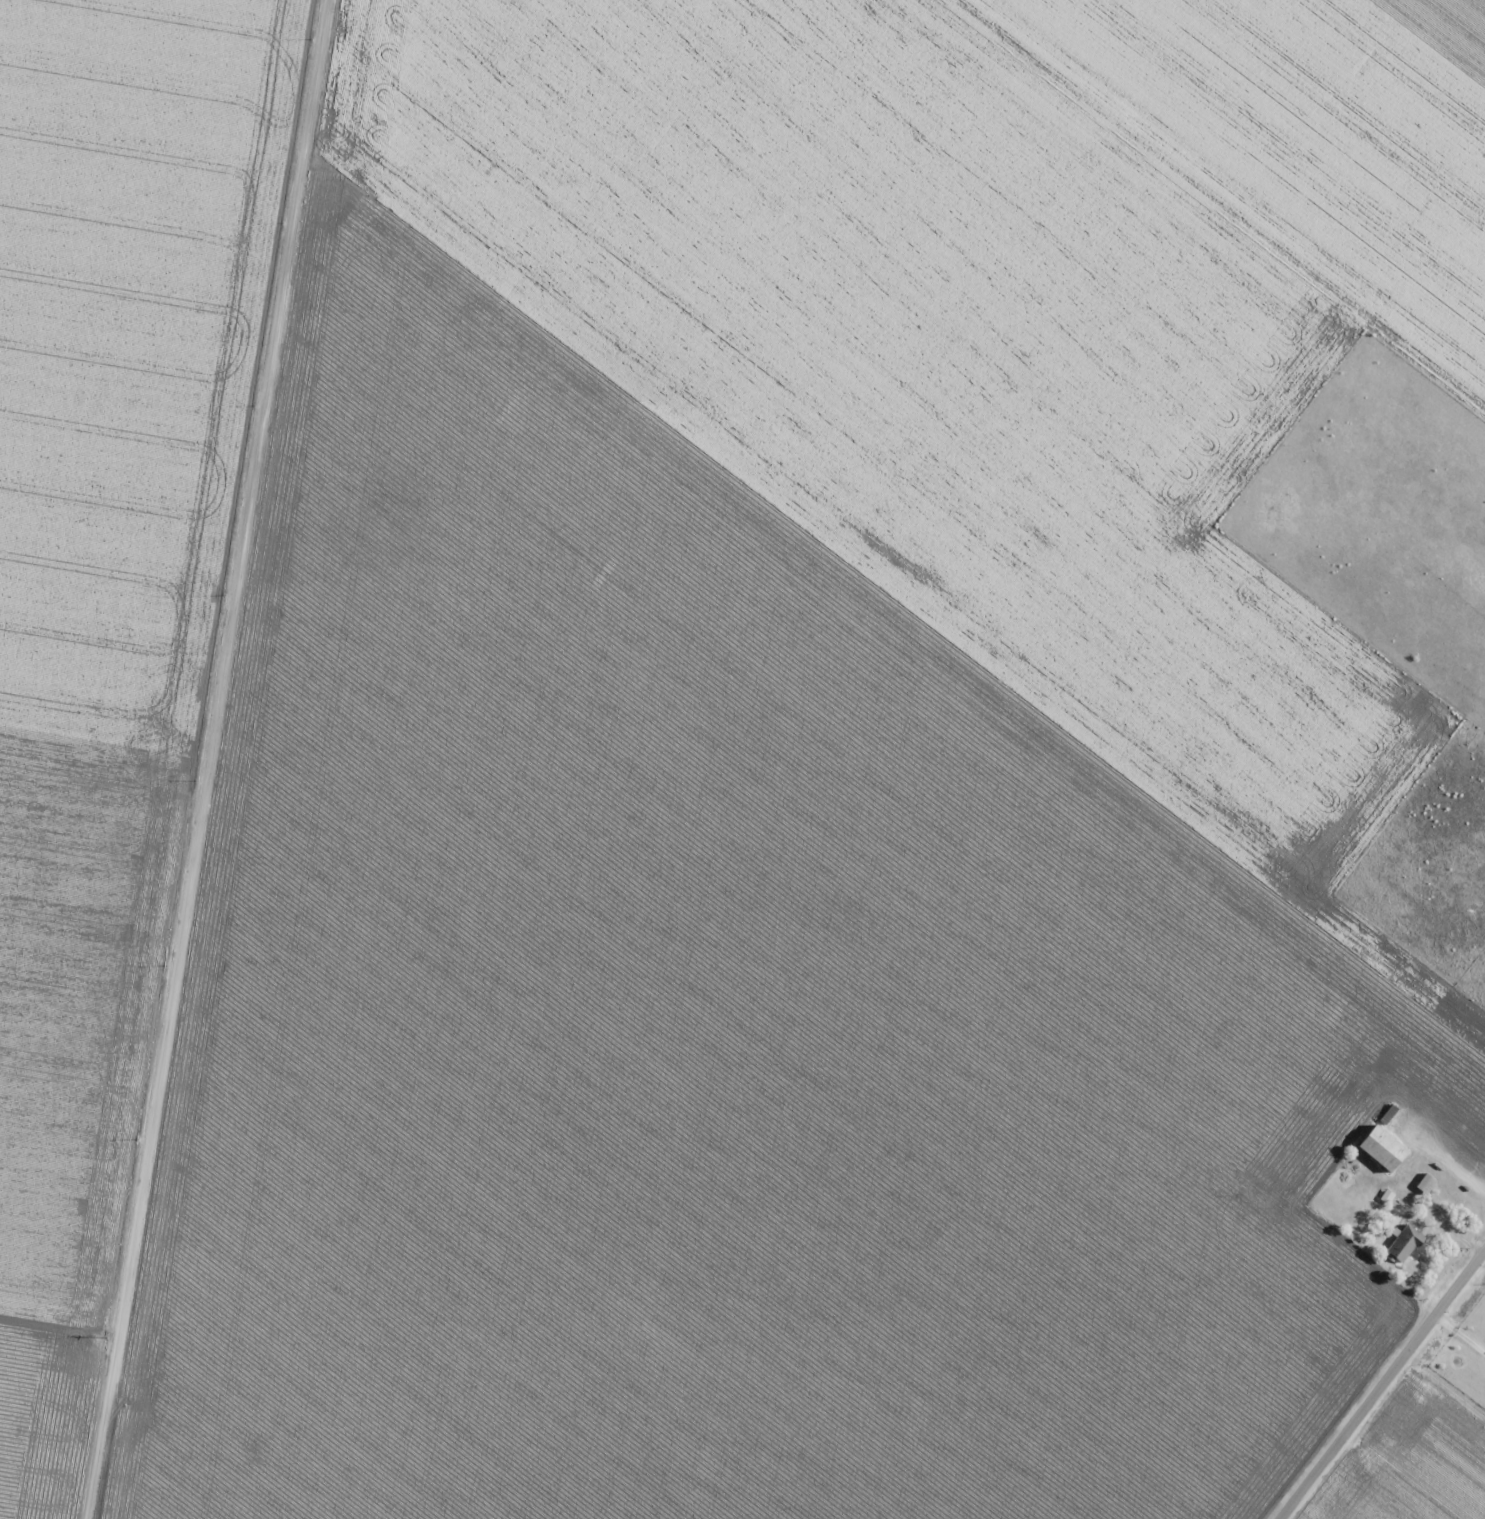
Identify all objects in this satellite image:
road: (199, 759)
crop: (832, 767)
building: (1381, 1149)
building: (1425, 1183)
building: (1403, 1244)
road: (51, 1364)
road: (1391, 1385)
crop: (1417, 1466)

